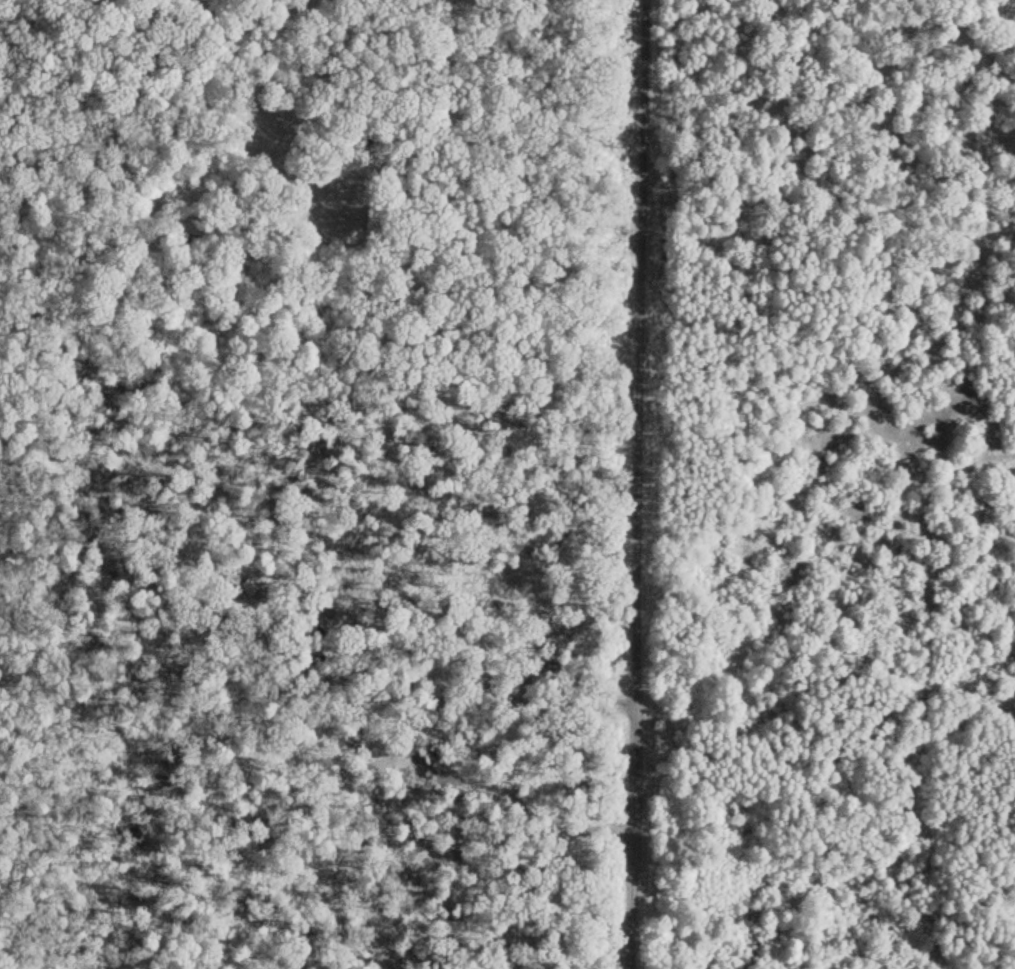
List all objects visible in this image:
road: (638, 484)

